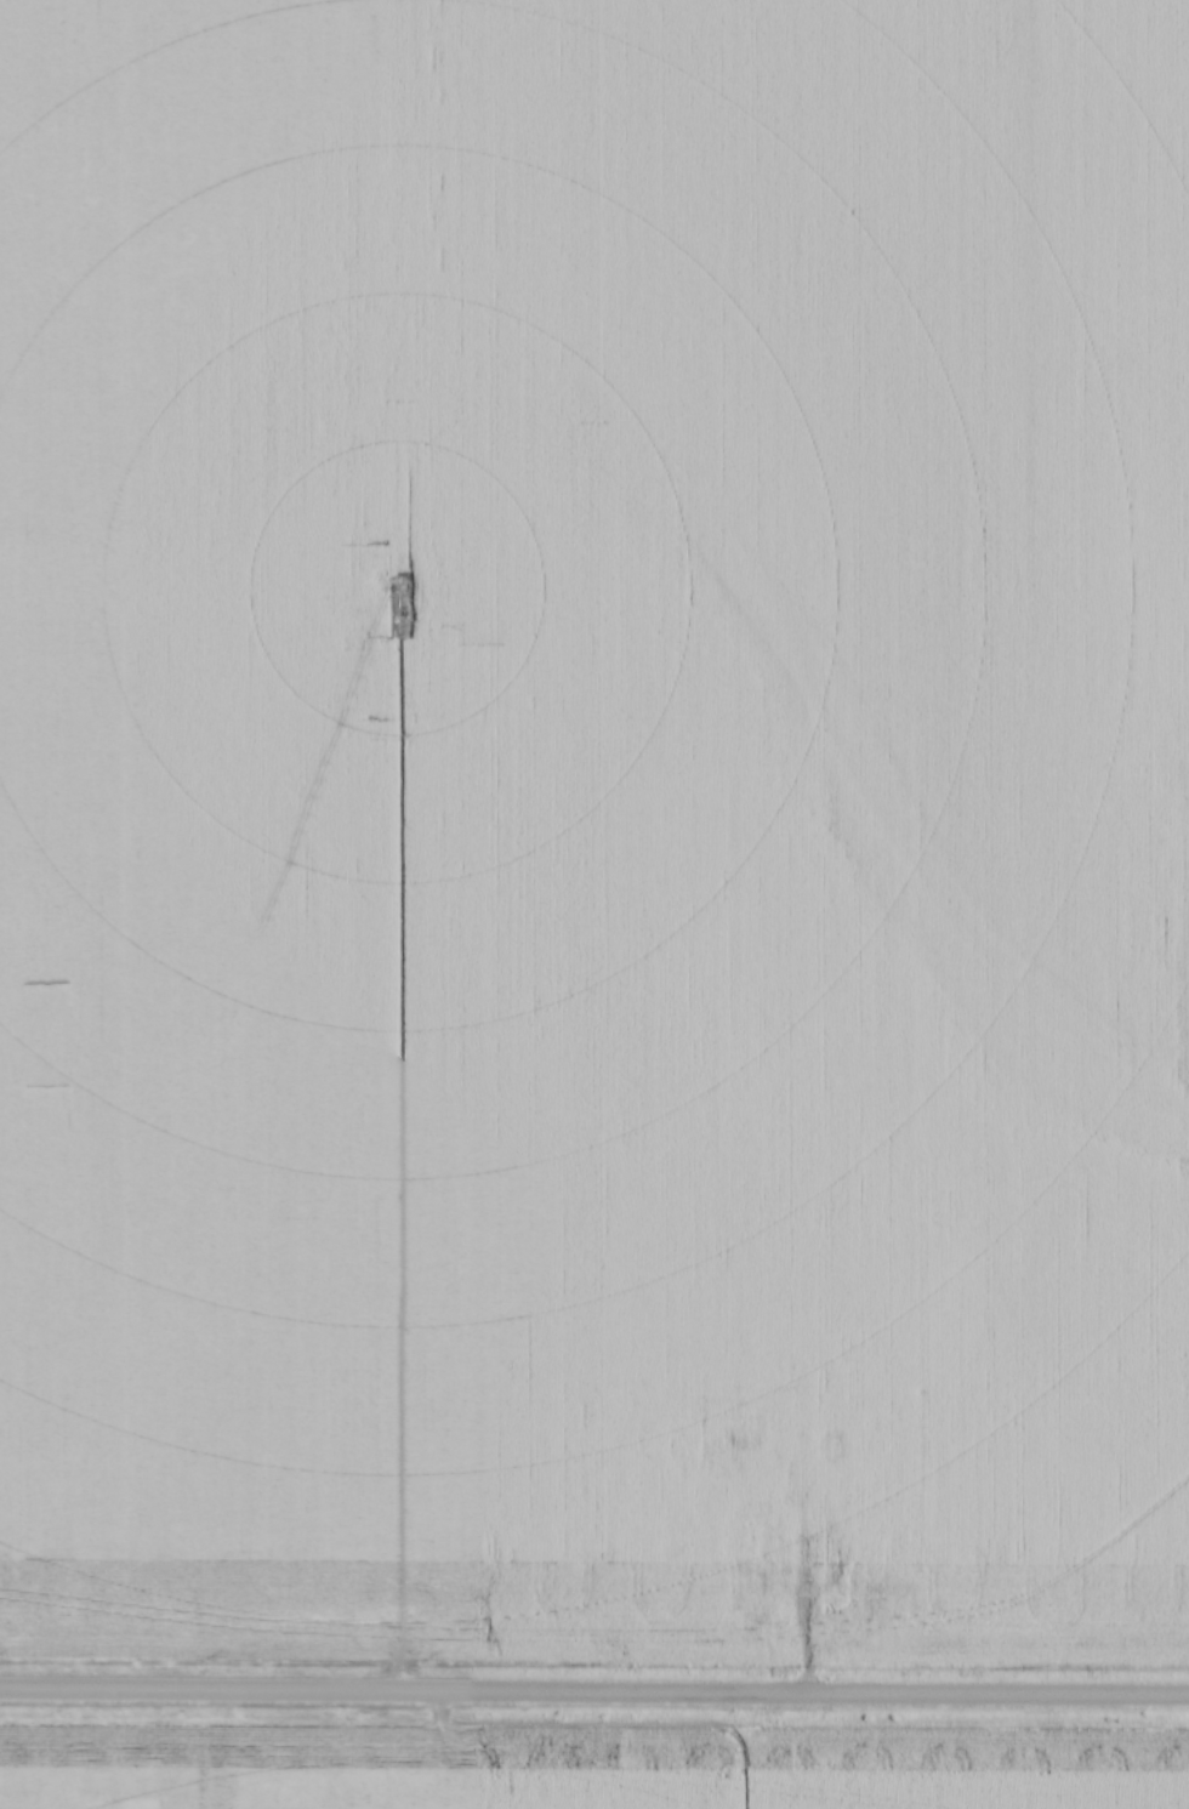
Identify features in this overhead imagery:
building: (735, 1429)
building: (783, 1537)
road: (807, 1559)
building: (749, 1603)
building: (880, 1605)
road: (594, 1696)

